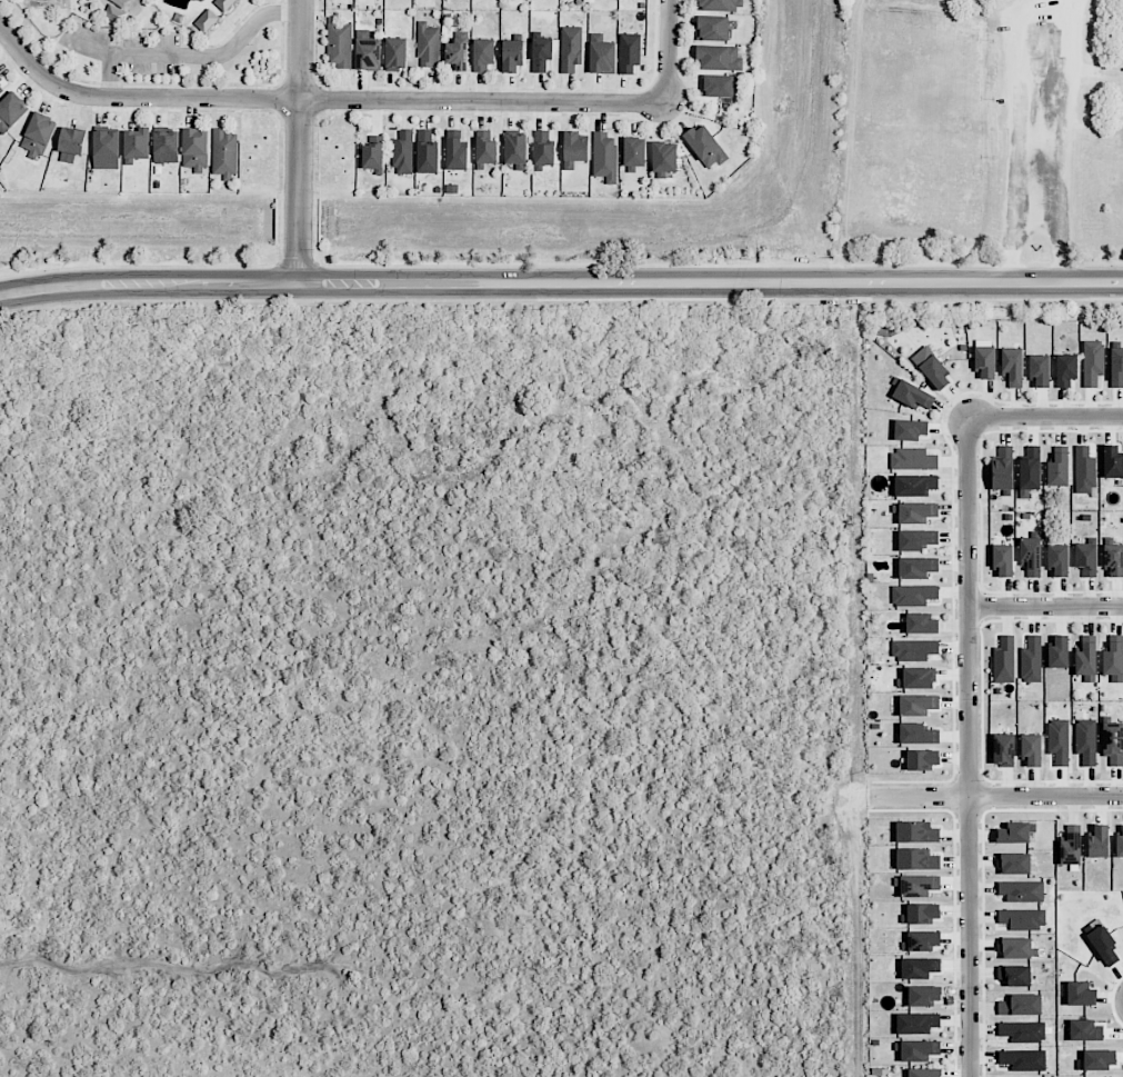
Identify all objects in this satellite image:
building: (721, 4)
building: (114, 13)
building: (207, 20)
building: (712, 28)
building: (339, 43)
building: (428, 46)
building: (572, 48)
building: (368, 49)
building: (629, 52)
building: (395, 53)
building: (457, 53)
building: (483, 53)
building: (541, 53)
road: (670, 53)
road: (188, 54)
building: (601, 54)
building: (512, 56)
building: (719, 58)
building: (0, 77)
road: (109, 77)
building: (719, 86)
building: (1, 89)
road: (319, 103)
building: (11, 111)
road: (1012, 133)
building: (39, 136)
road: (297, 141)
road: (1060, 141)
building: (137, 143)
building: (71, 144)
building: (166, 146)
building: (705, 146)
building: (543, 148)
building: (106, 149)
building: (195, 149)
building: (515, 149)
building: (574, 149)
building: (487, 150)
building: (634, 151)
building: (224, 152)
building: (403, 152)
building: (427, 152)
building: (372, 153)
building: (457, 154)
building: (604, 157)
building: (664, 157)
road: (561, 283)
building: (985, 362)
building: (1092, 362)
building: (931, 367)
building: (1012, 367)
building: (1116, 368)
building: (1065, 369)
building: (1040, 370)
building: (911, 395)
road: (1045, 417)
building: (910, 429)
building: (912, 459)
building: (1113, 462)
building: (1003, 468)
building: (1057, 469)
building: (1084, 470)
building: (914, 485)
building: (915, 512)
road: (405, 523)
building: (916, 539)
building: (1030, 556)
building: (1086, 559)
building: (1113, 559)
building: (1002, 560)
building: (1057, 560)
building: (918, 567)
building: (913, 595)
road: (1045, 606)
building: (921, 624)
building: (913, 649)
building: (1059, 652)
building: (1086, 658)
building: (1031, 659)
building: (1113, 659)
building: (1004, 660)
building: (916, 678)
building: (918, 705)
building: (918, 734)
building: (1059, 740)
building: (1085, 741)
building: (1113, 742)
road: (967, 747)
building: (1003, 749)
building: (1031, 750)
building: (922, 759)
road: (996, 796)
building: (916, 831)
building: (1012, 832)
building: (1099, 841)
building: (1119, 845)
building: (1071, 846)
building: (916, 859)
building: (1014, 864)
building: (1020, 891)
building: (921, 913)
building: (1023, 918)
building: (923, 940)
building: (1102, 943)
building: (1016, 948)
building: (920, 967)
building: (1015, 975)
building: (1081, 994)
building: (924, 995)
building: (1021, 1005)
building: (916, 1023)
building: (1084, 1030)
building: (1022, 1031)
building: (918, 1050)
building: (1023, 1059)
building: (1100, 1059)
building: (924, 1073)

